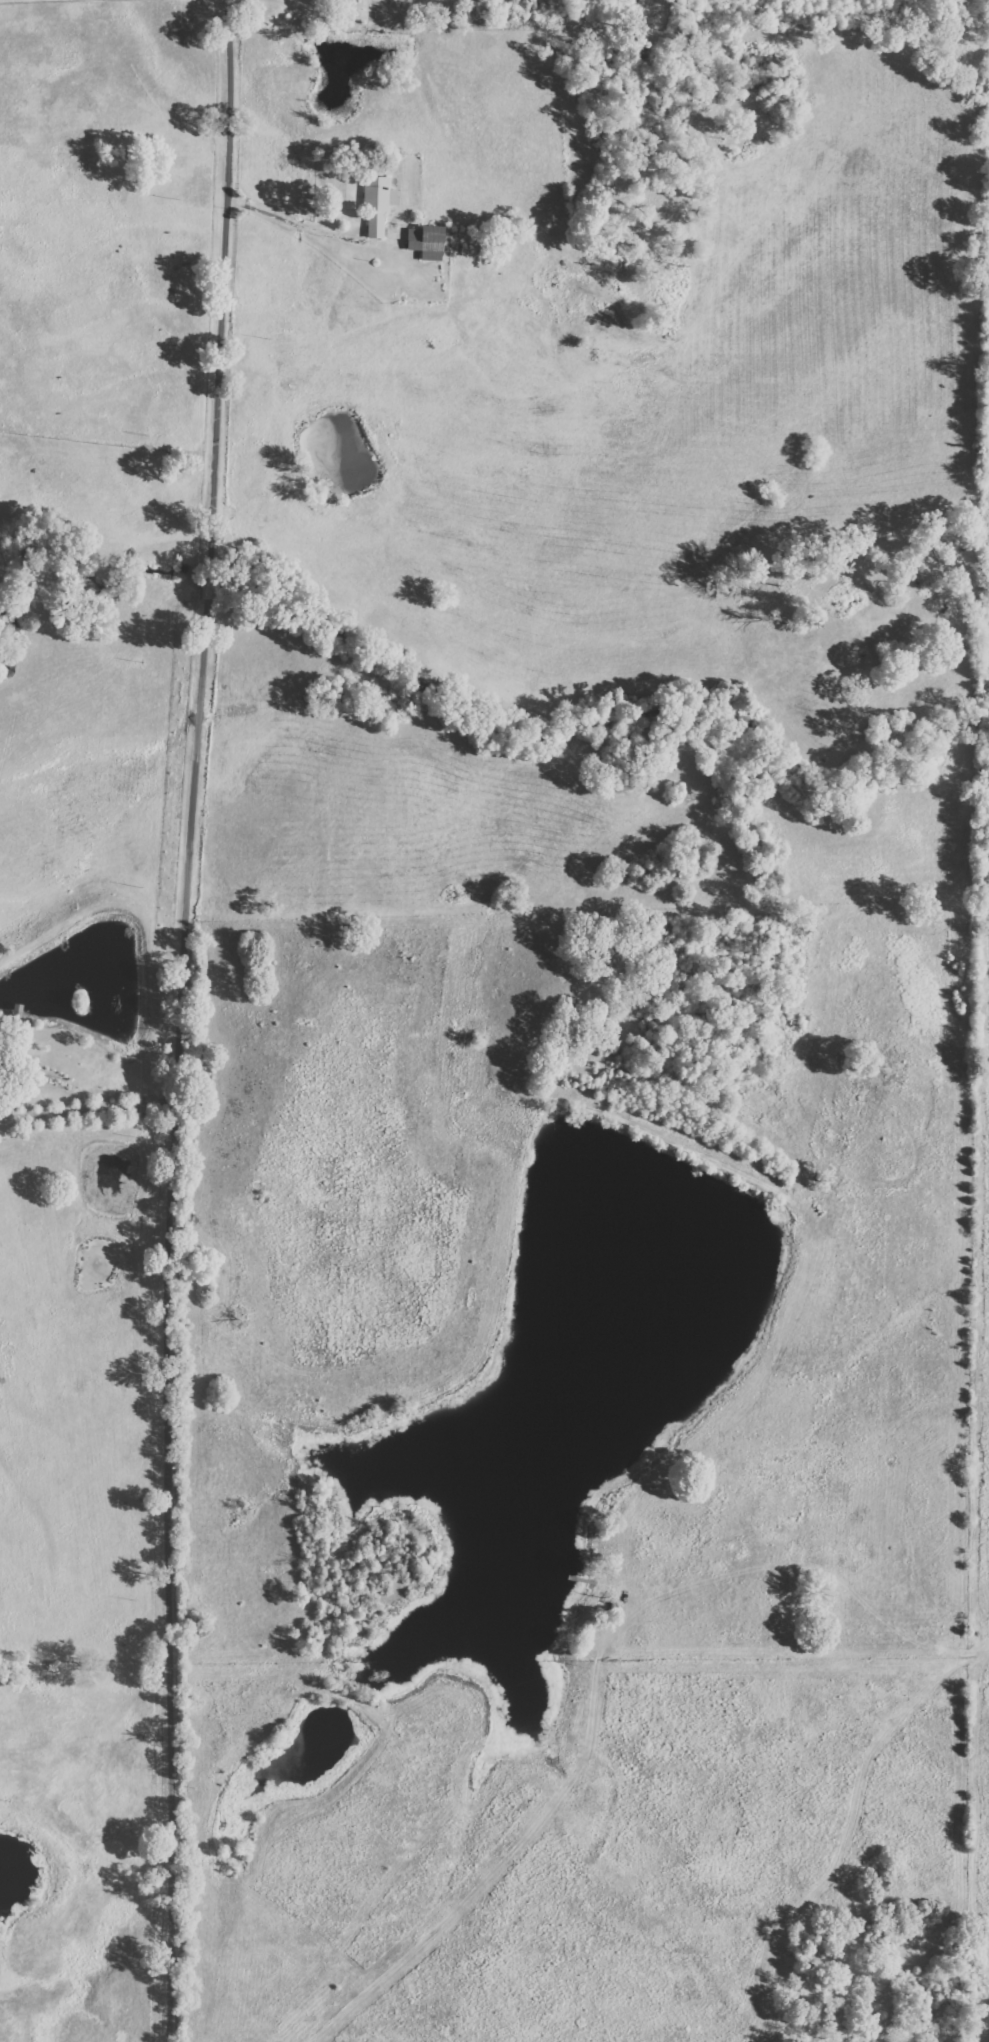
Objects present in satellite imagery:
building: (377, 205)
building: (424, 242)
road: (179, 1020)
road: (85, 1115)

